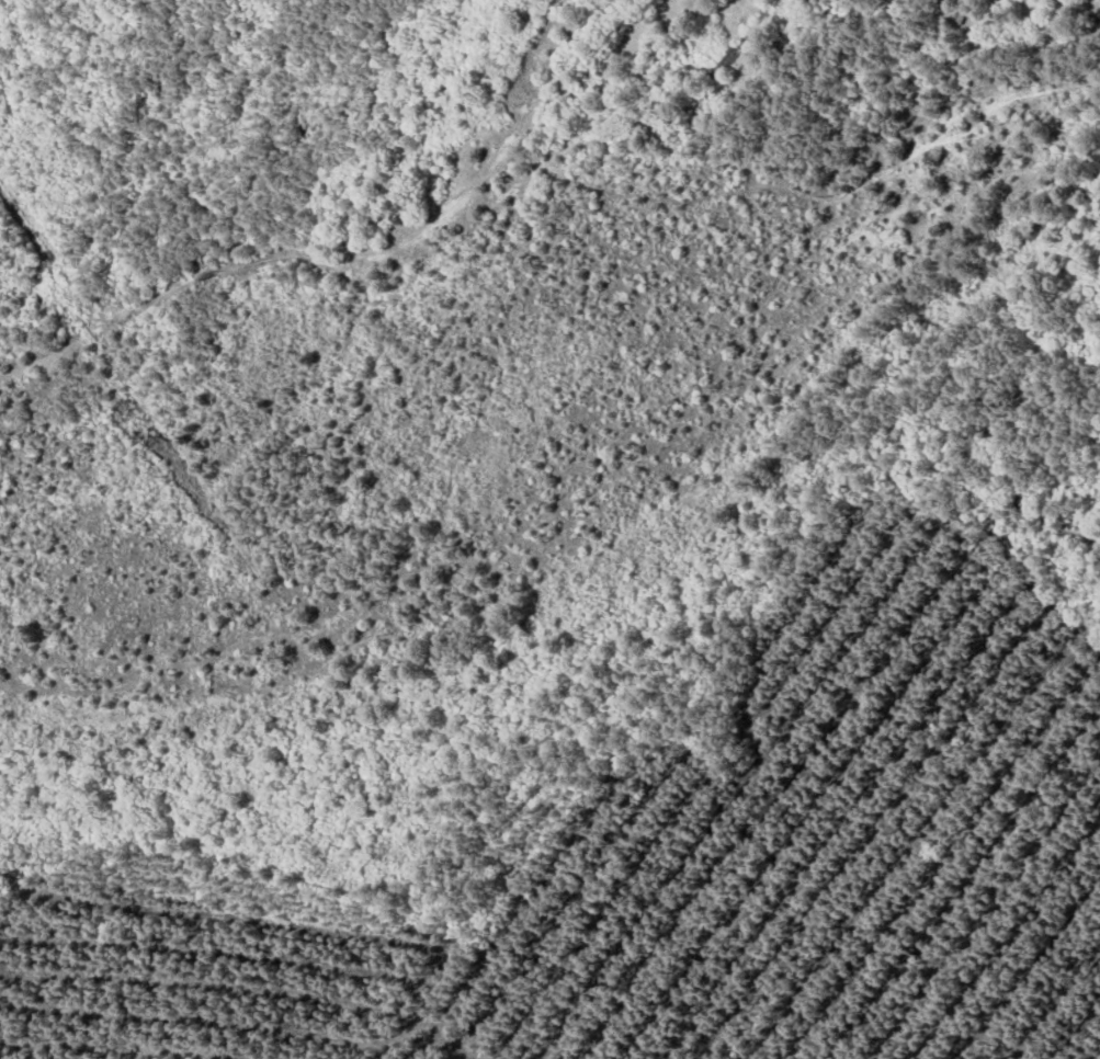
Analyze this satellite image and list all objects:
building: (727, 66)

